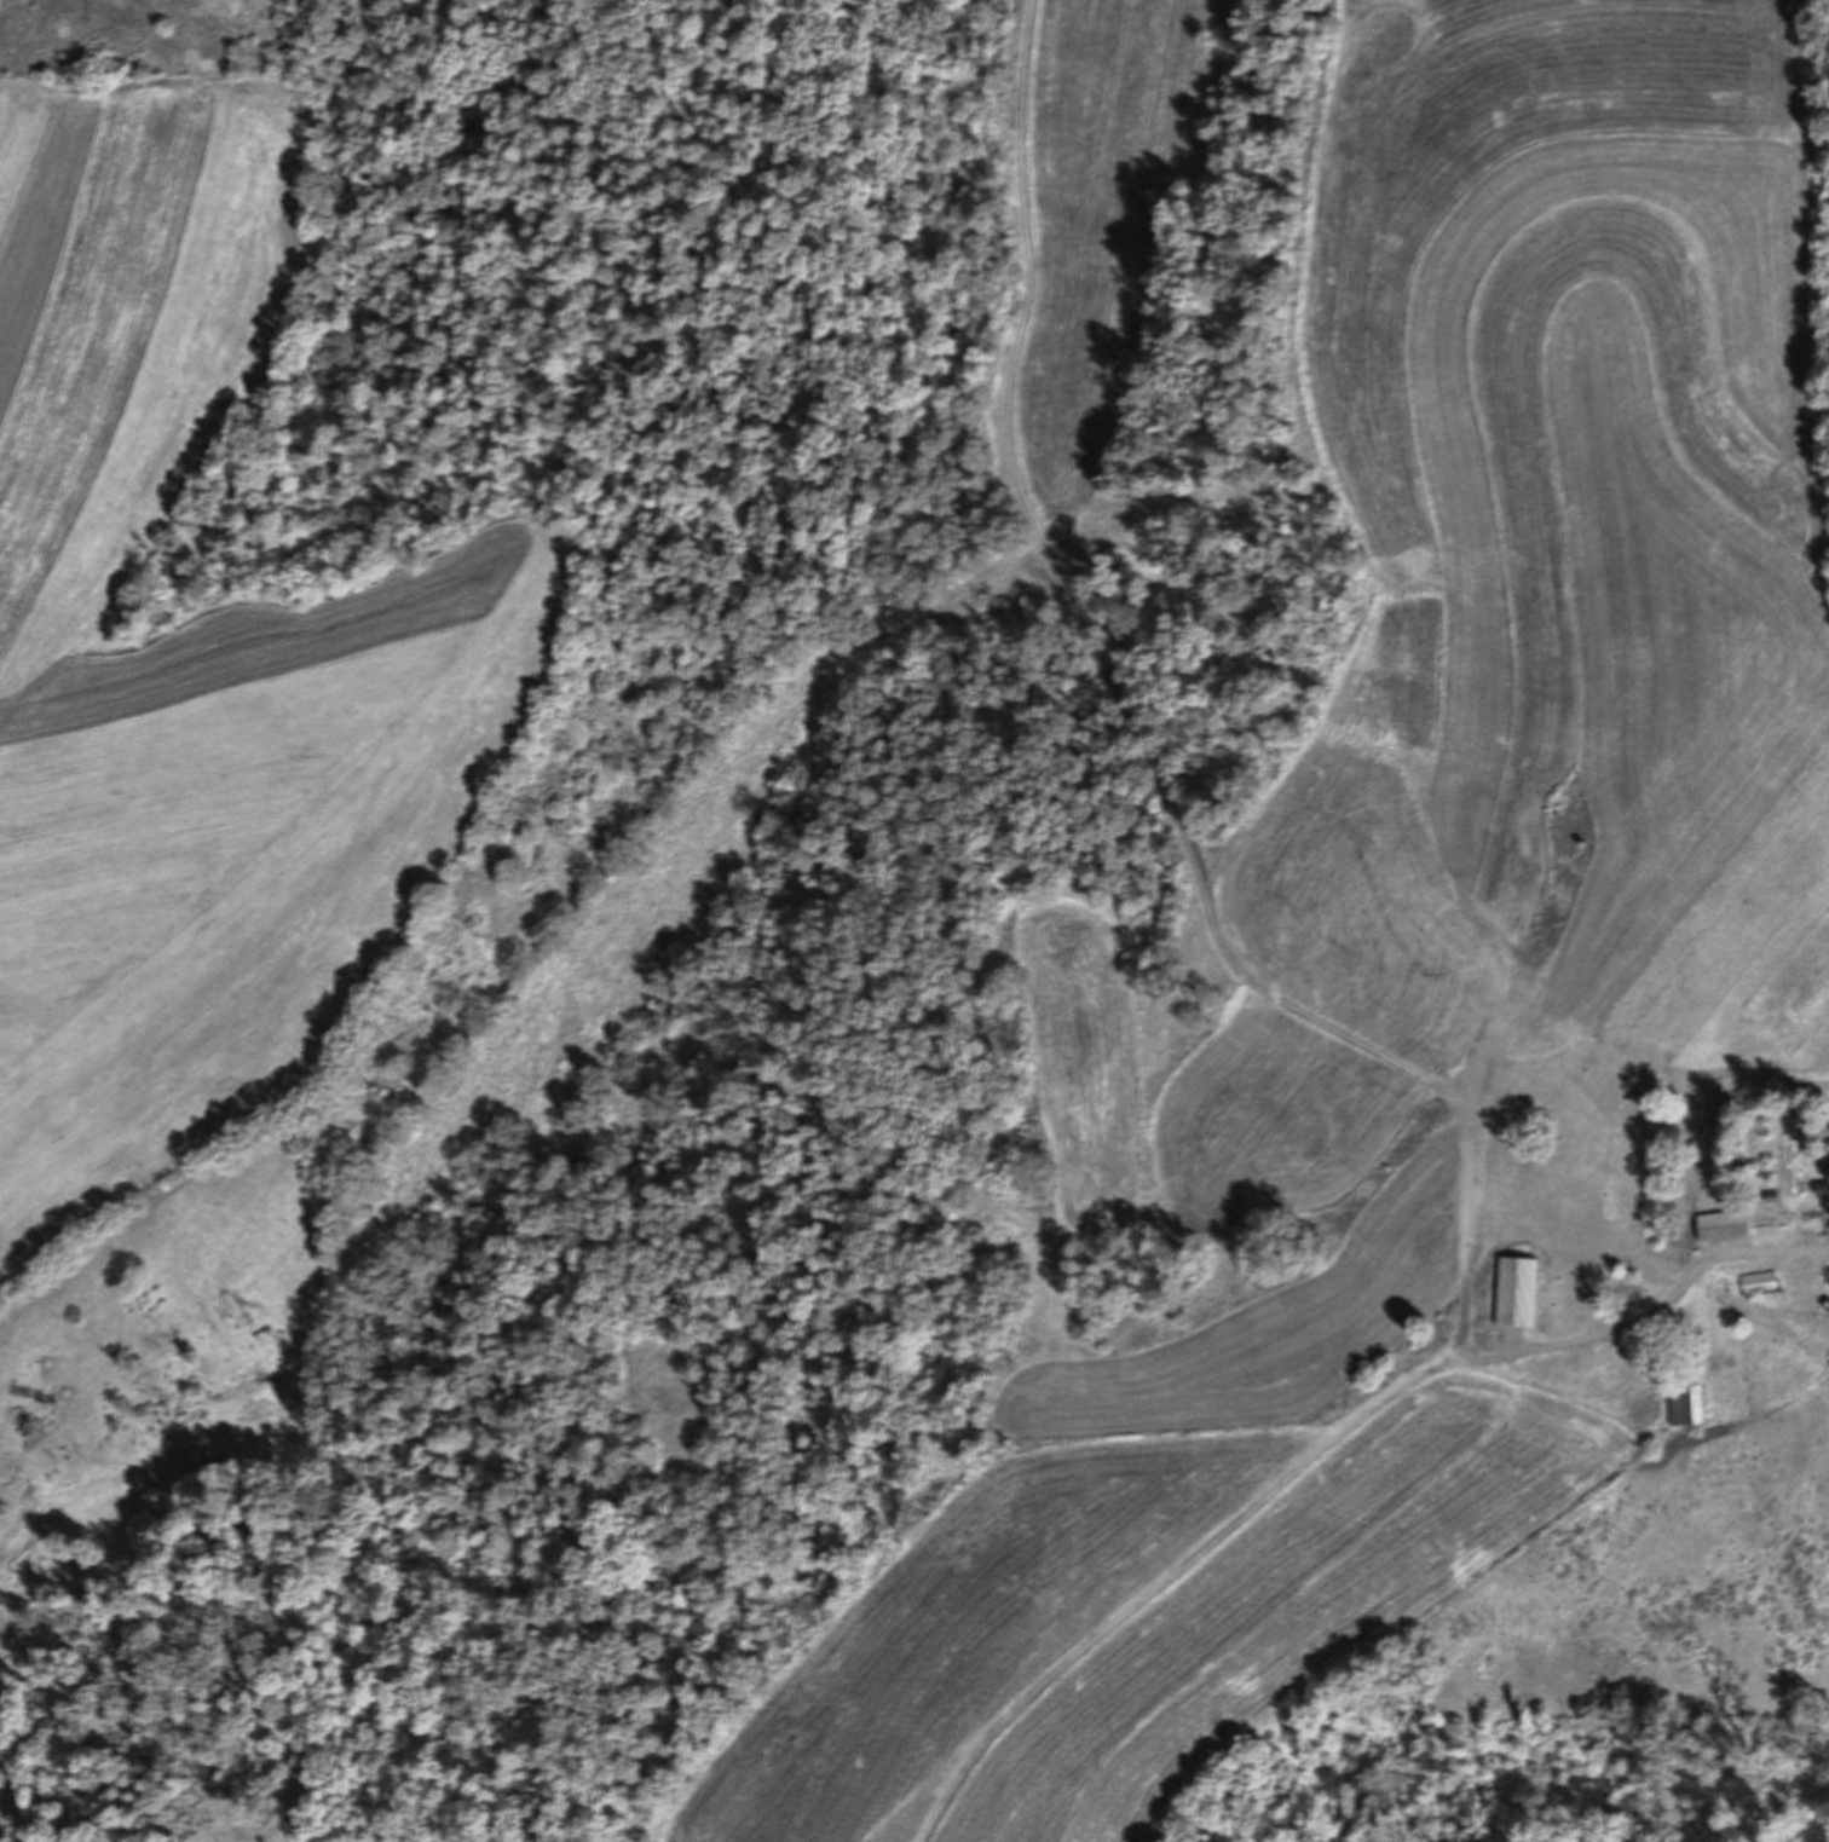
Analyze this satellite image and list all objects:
road: (1092, 642)
road: (1487, 953)
building: (1822, 1188)
building: (1723, 1225)
building: (1825, 1270)
building: (1759, 1278)
building: (1516, 1292)
road: (1663, 1306)
building: (1685, 1404)
road: (1269, 1489)

